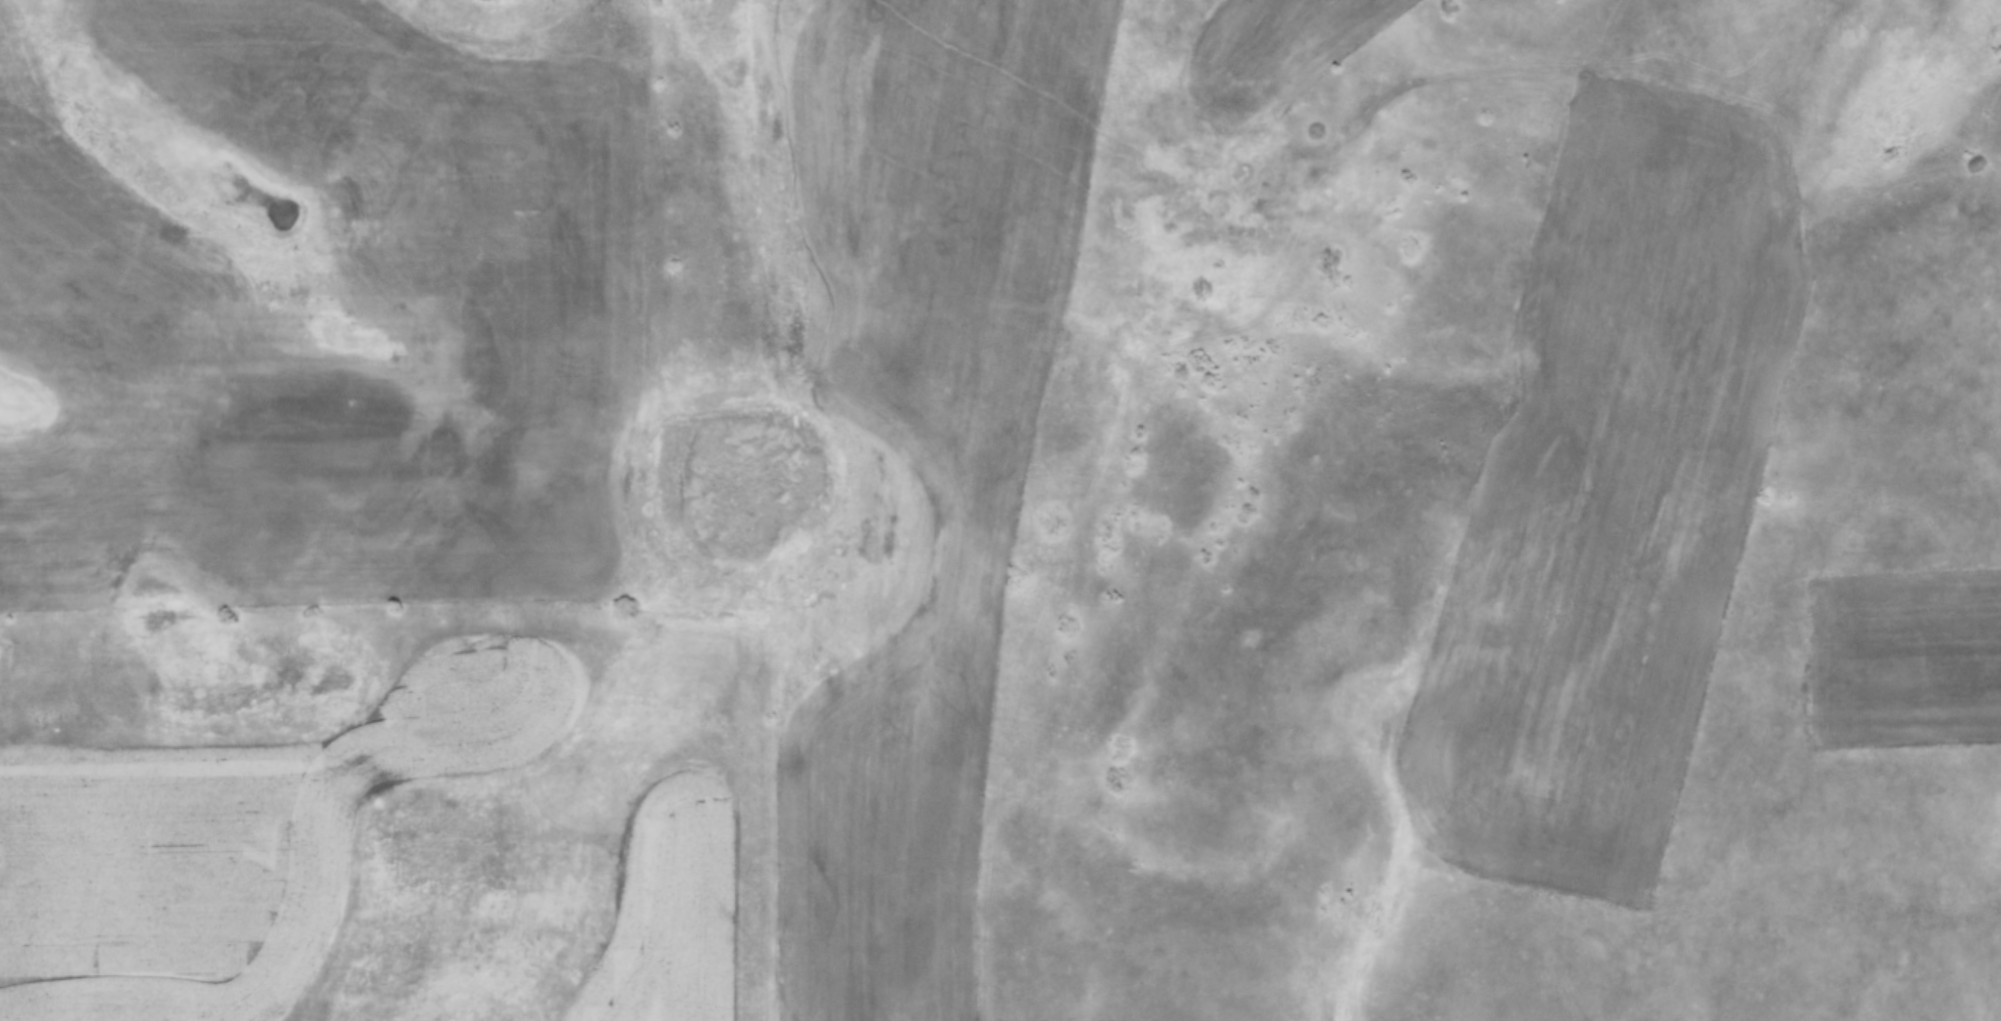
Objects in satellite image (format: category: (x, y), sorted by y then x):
road: (304, 47)
road: (766, 254)

